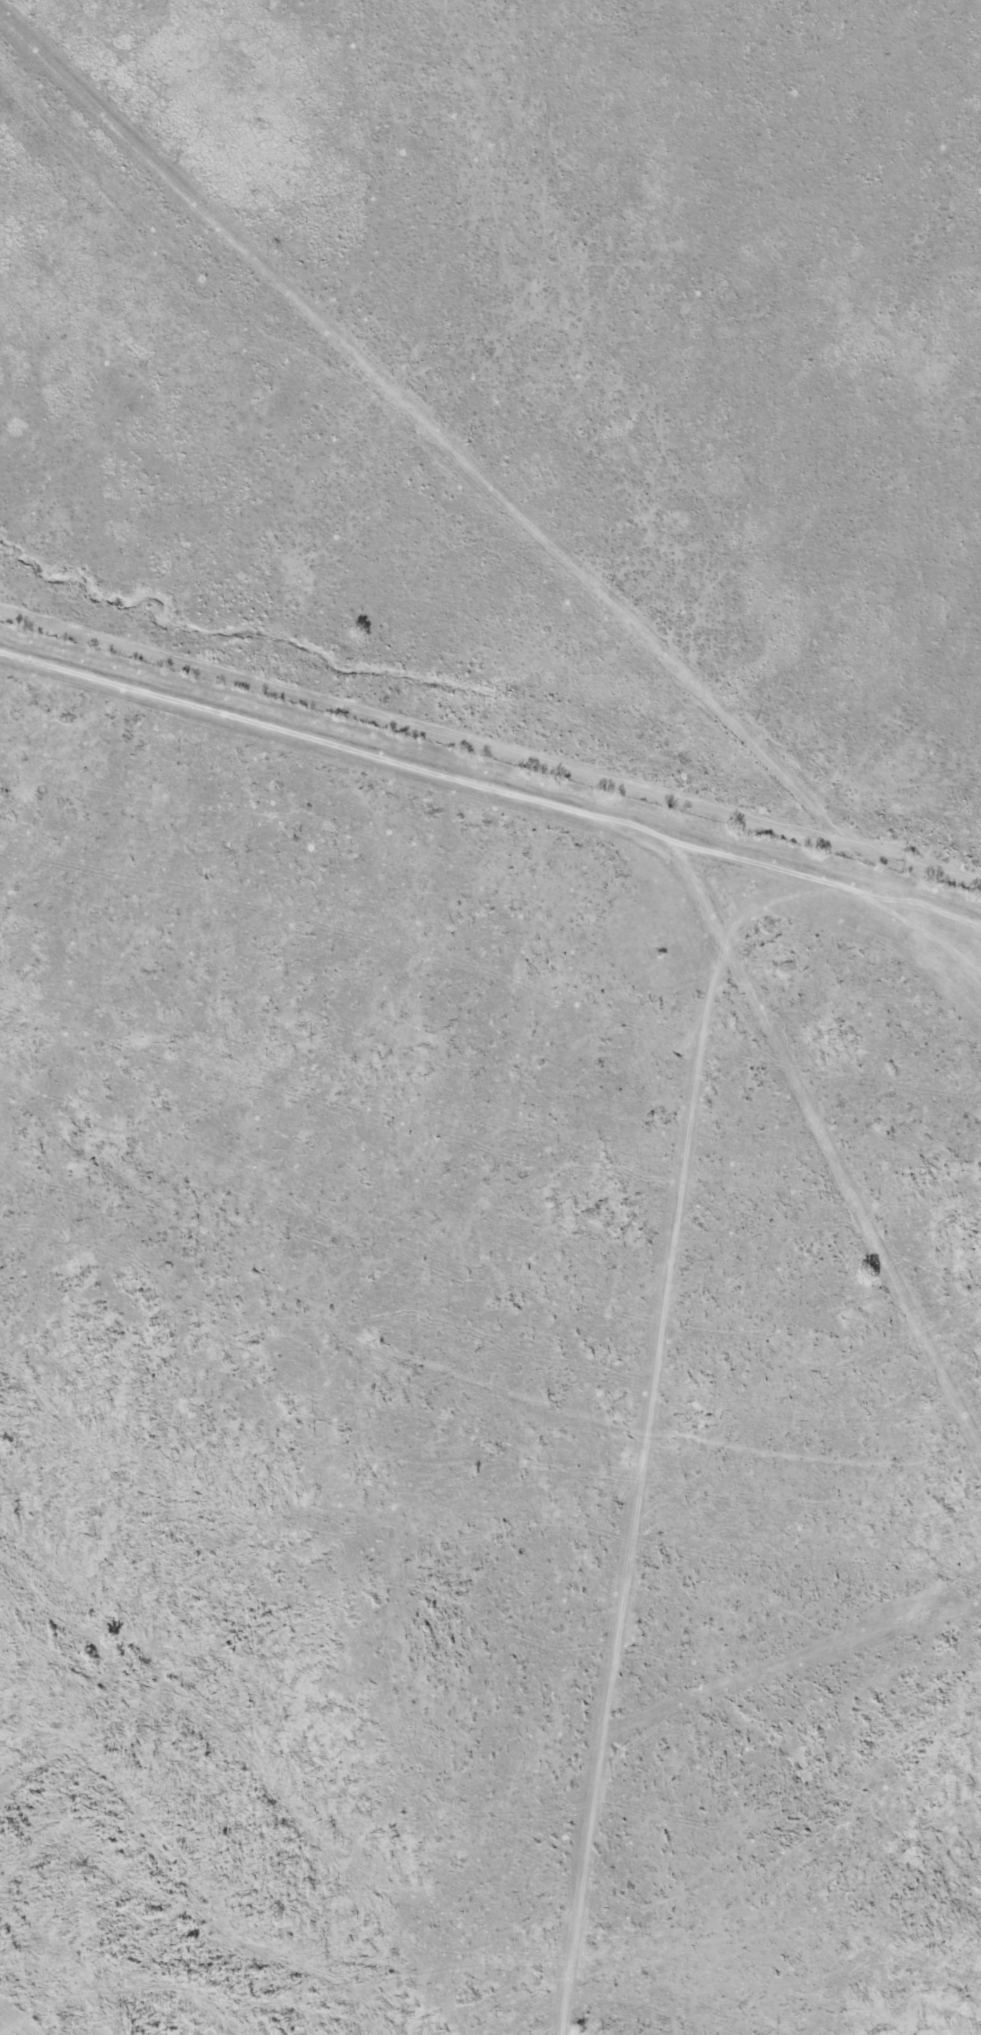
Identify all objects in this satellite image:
road: (490, 770)

